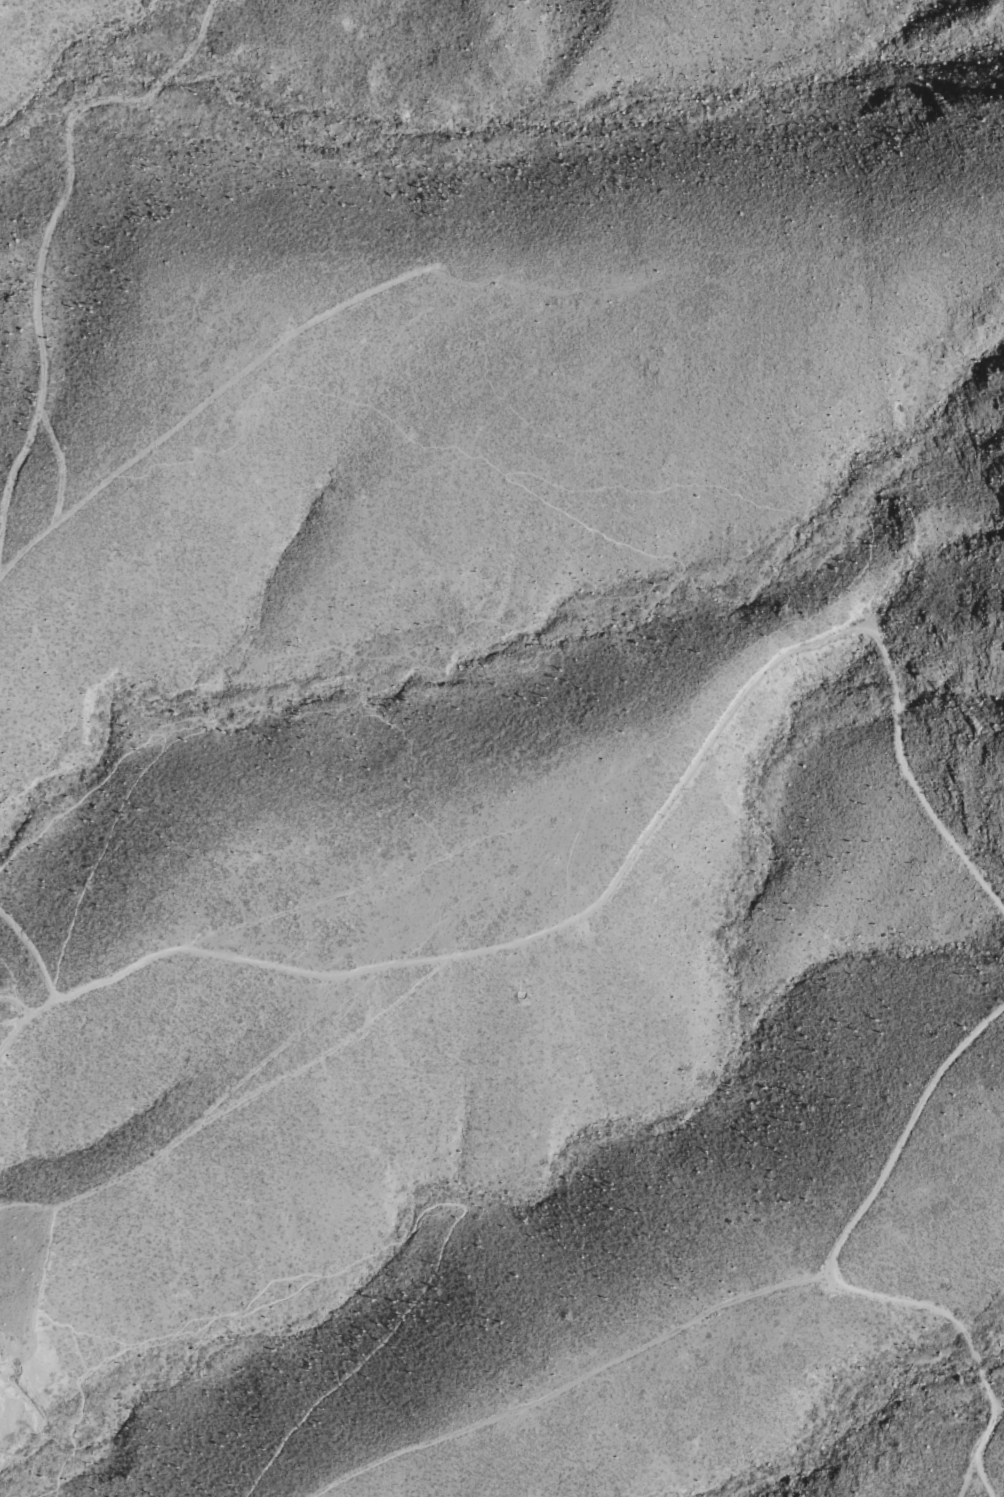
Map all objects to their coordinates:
road: (335, 712)
road: (98, 854)
road: (610, 890)
road: (175, 1143)
road: (383, 1247)
road: (837, 1274)
road: (575, 1383)
road: (972, 1481)

